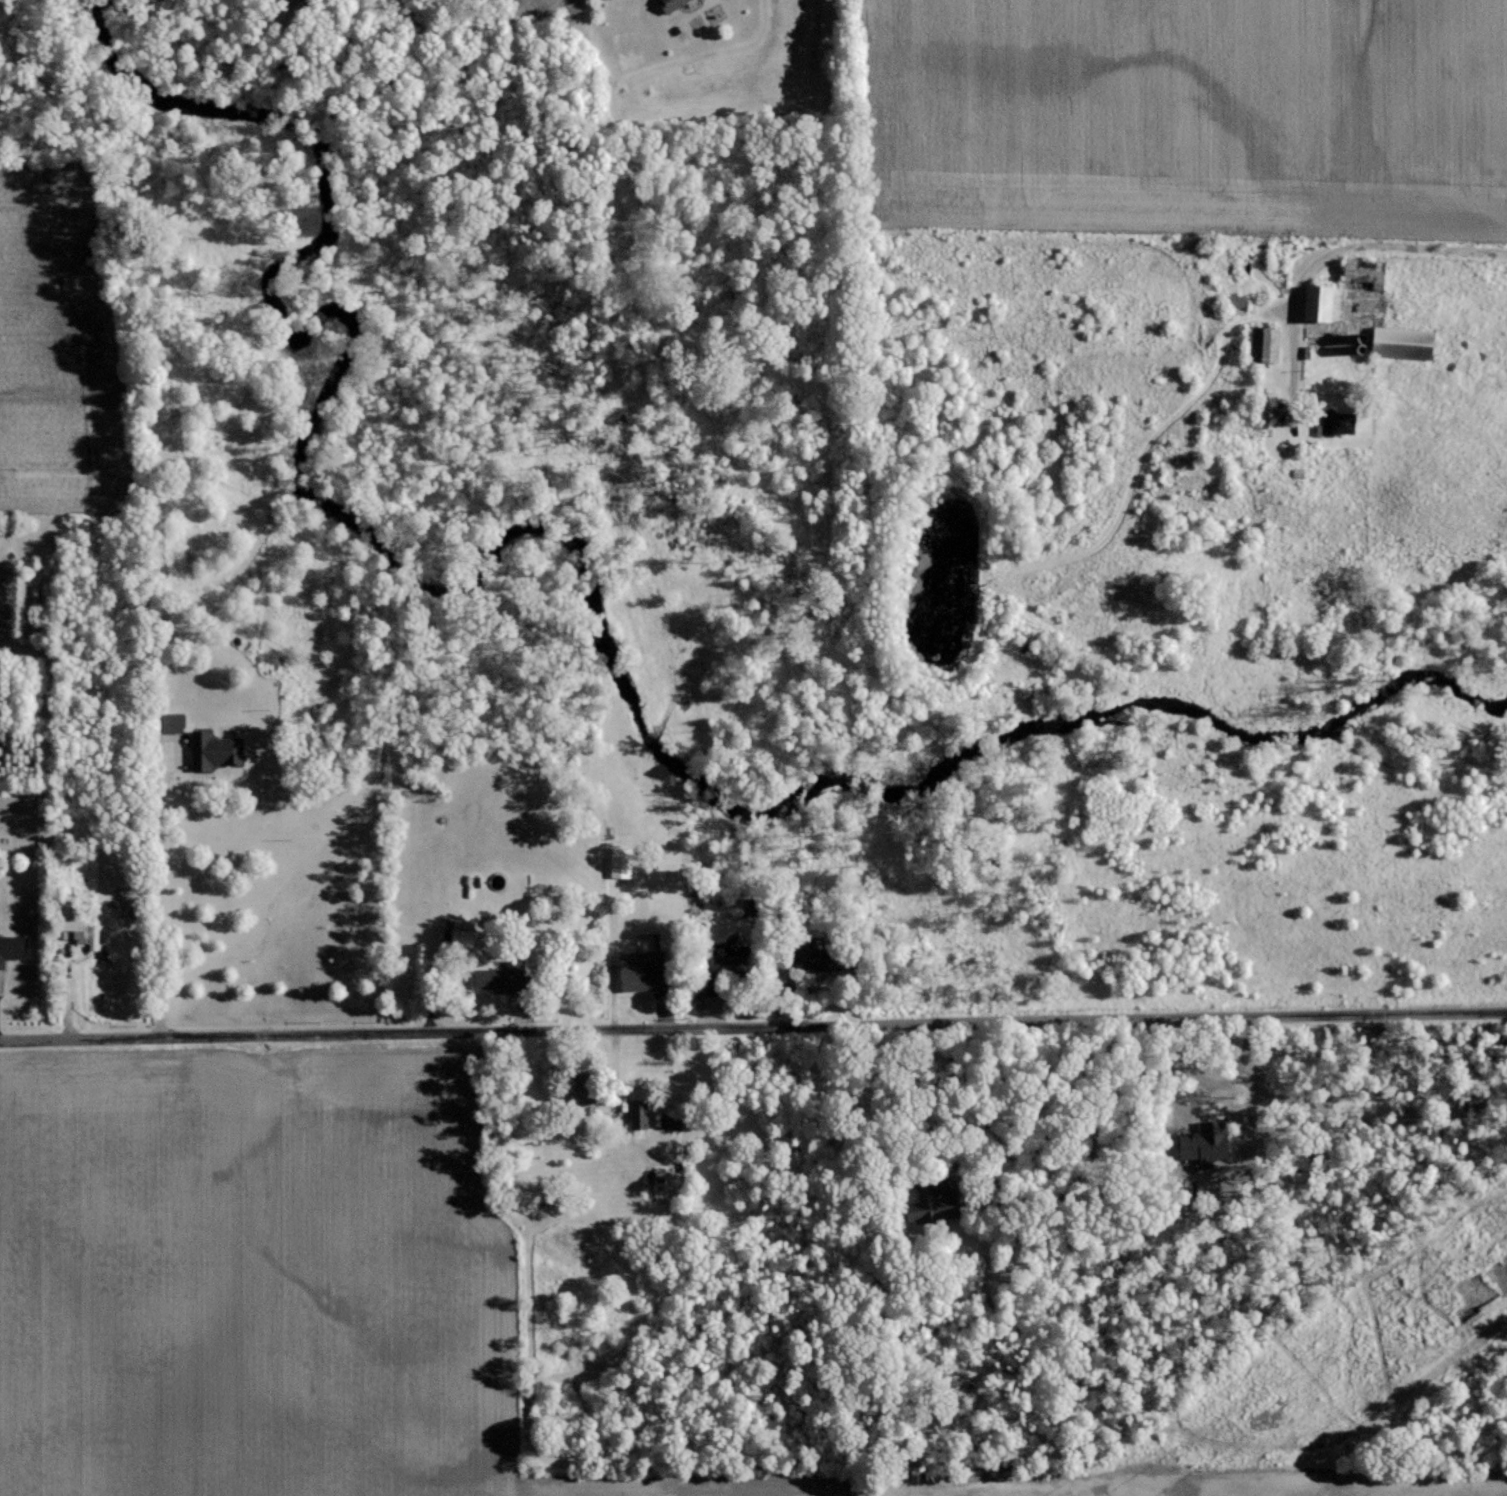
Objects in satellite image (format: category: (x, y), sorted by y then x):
building: (669, 4)
road: (1349, 255)
building: (1360, 273)
building: (1314, 302)
building: (1234, 304)
building: (1332, 309)
building: (1400, 343)
building: (1266, 344)
building: (168, 723)
building: (618, 862)
road: (158, 890)
building: (69, 929)
building: (92, 937)
building: (456, 937)
building: (10, 948)
building: (802, 954)
building: (636, 971)
building: (496, 977)
building: (708, 985)
road: (753, 1027)
building: (637, 1113)
building: (926, 1207)

